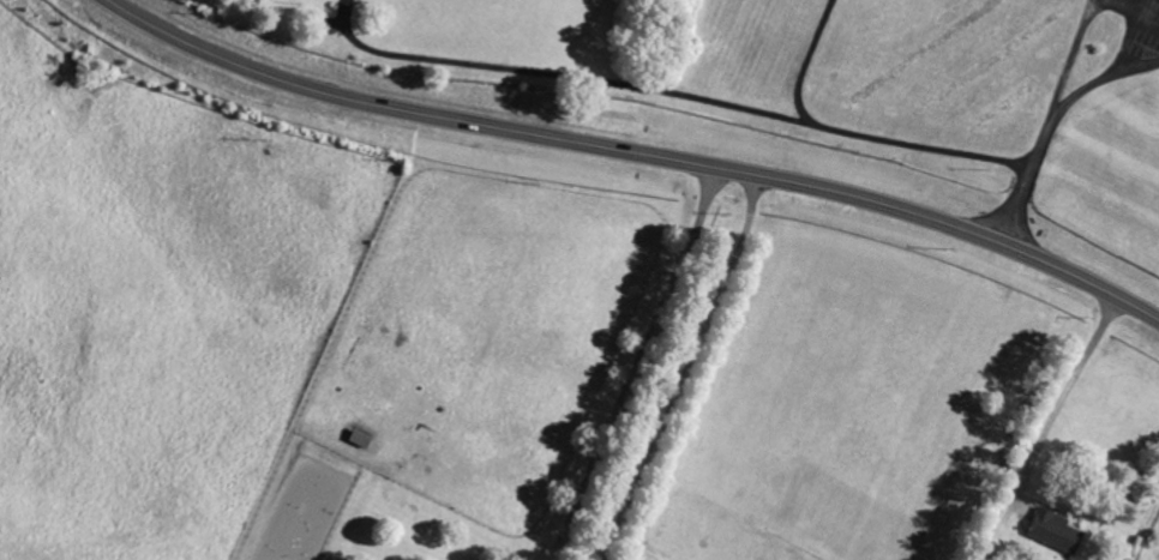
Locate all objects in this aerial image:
road: (1092, 0)
road: (1081, 30)
road: (809, 67)
park: (977, 100)
road: (685, 102)
road: (1053, 125)
road: (635, 152)
road: (633, 363)
road: (687, 369)
road: (1067, 395)
road: (1142, 524)
building: (1050, 531)

